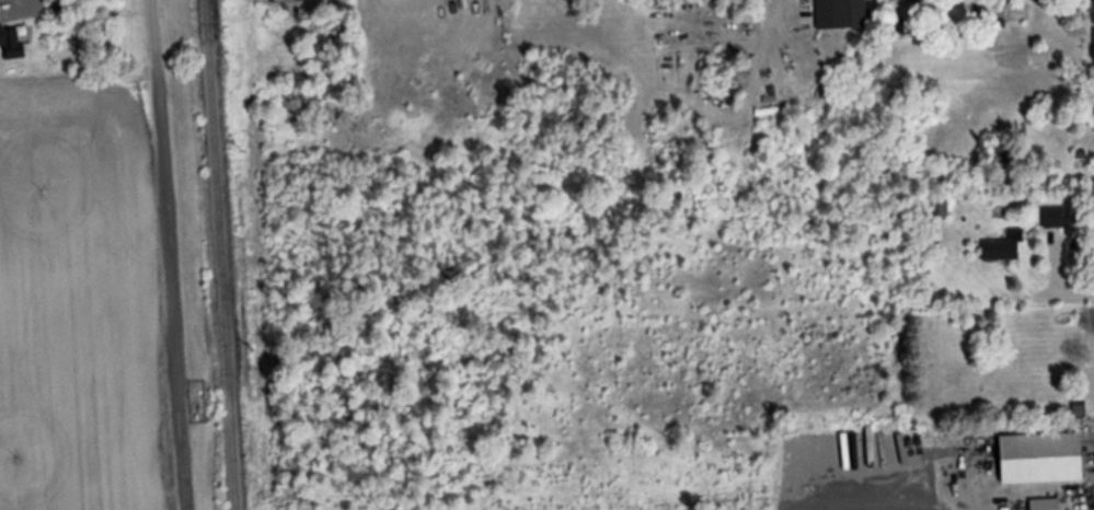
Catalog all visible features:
building: (851, 13)
building: (12, 42)
building: (940, 208)
building: (1055, 218)
building: (1003, 248)
road: (171, 254)
railway: (222, 255)
building: (1041, 459)
building: (1046, 505)
building: (1014, 506)

